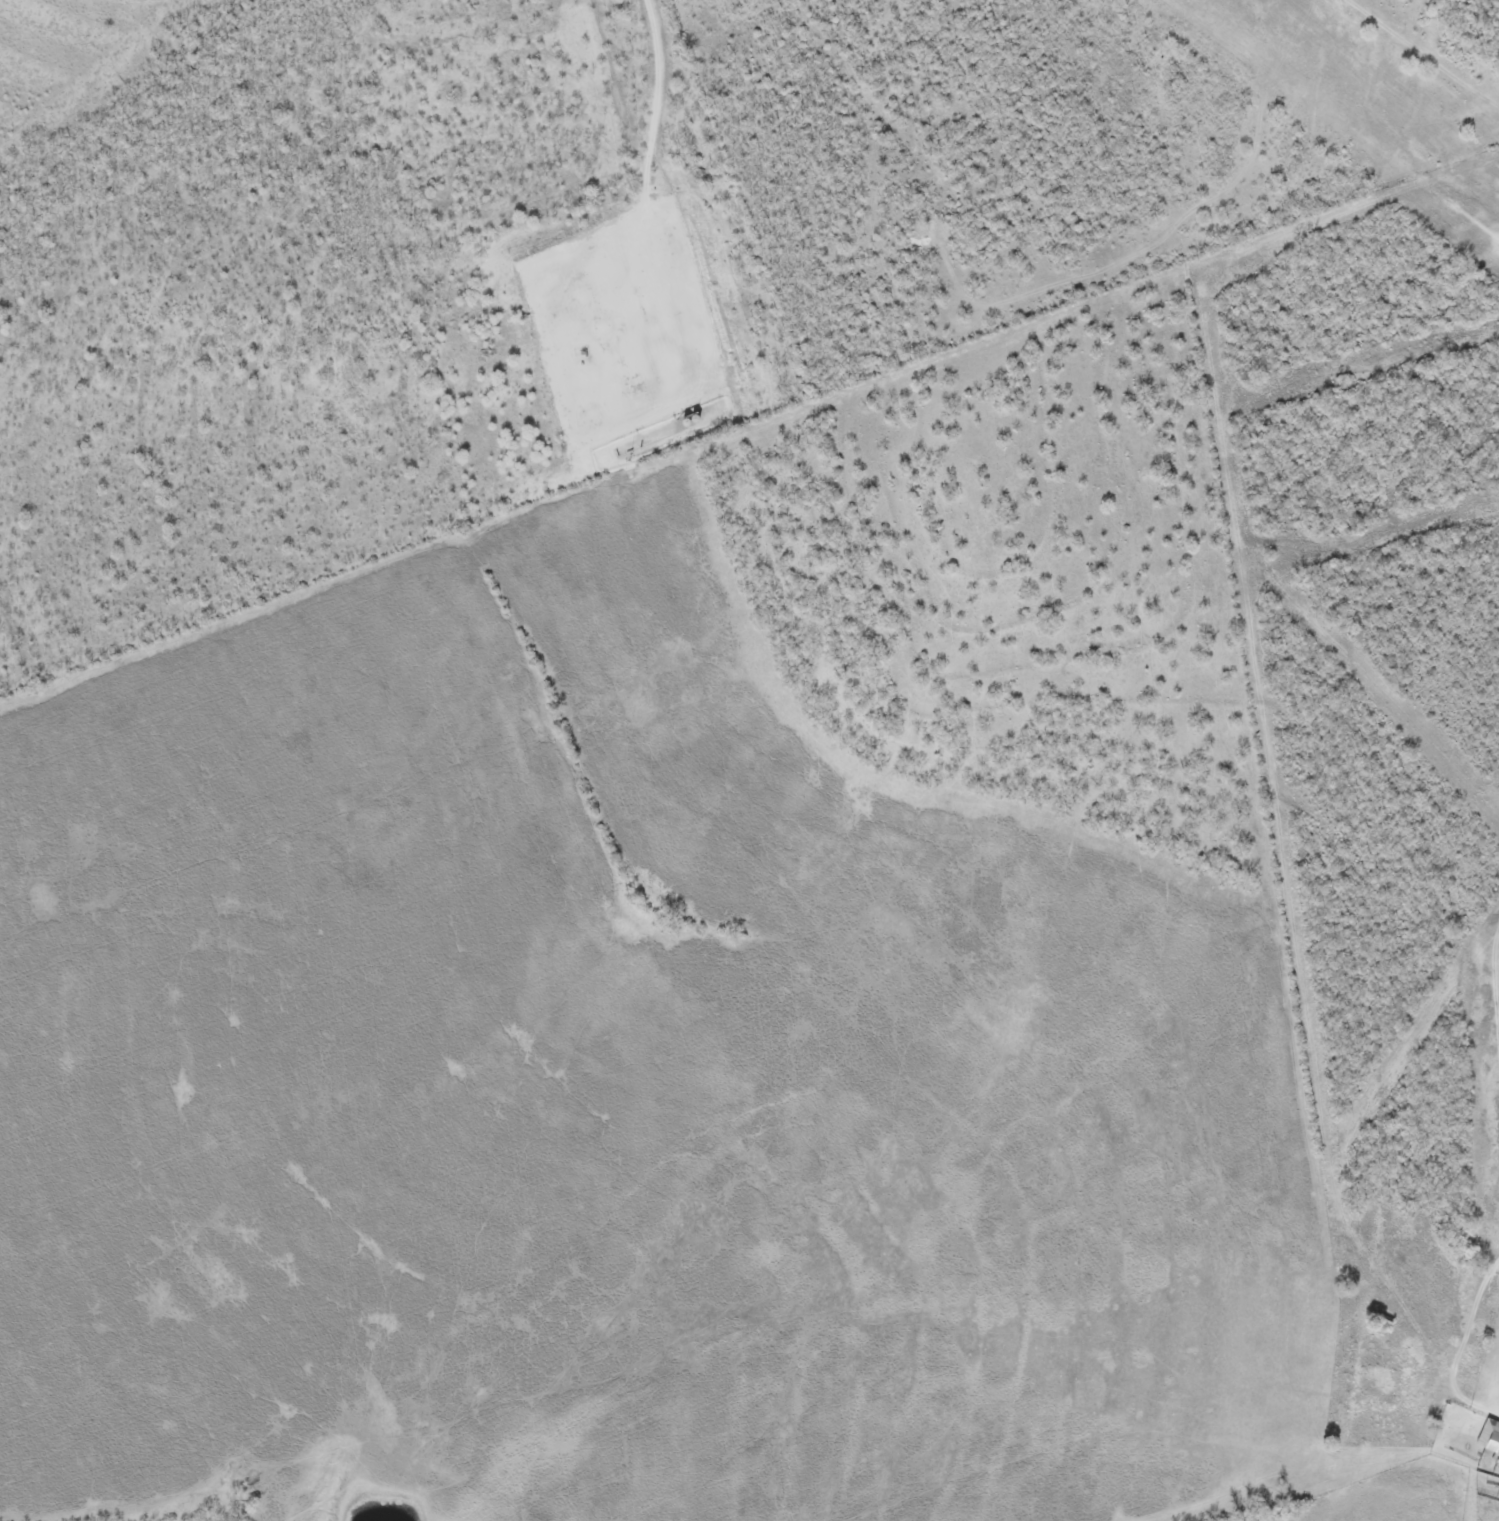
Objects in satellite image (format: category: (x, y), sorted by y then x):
building: (1488, 1435)

